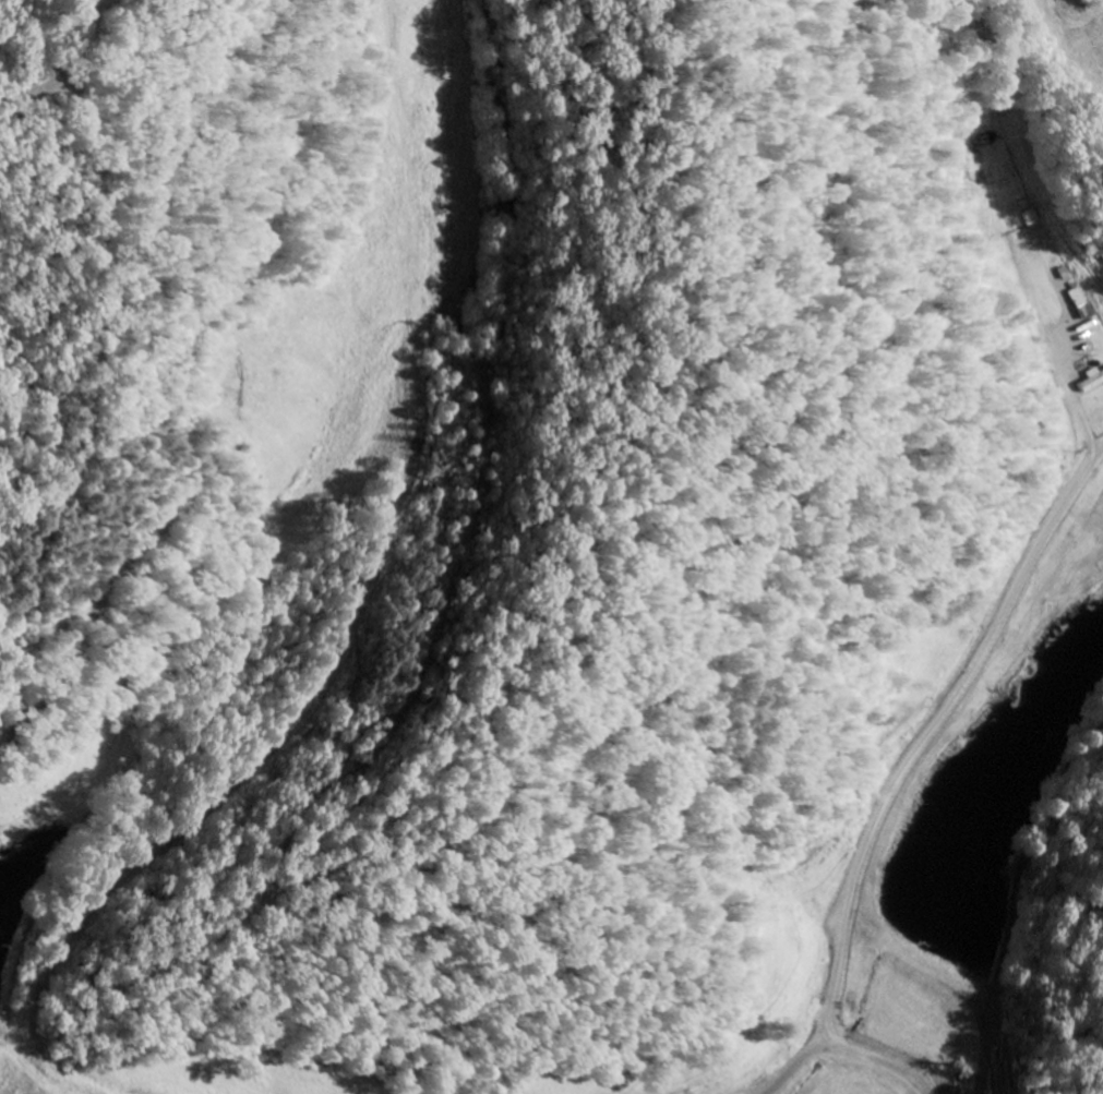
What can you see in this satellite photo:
building: (1071, 297)
building: (1092, 382)
road: (831, 1027)
road: (847, 1045)

